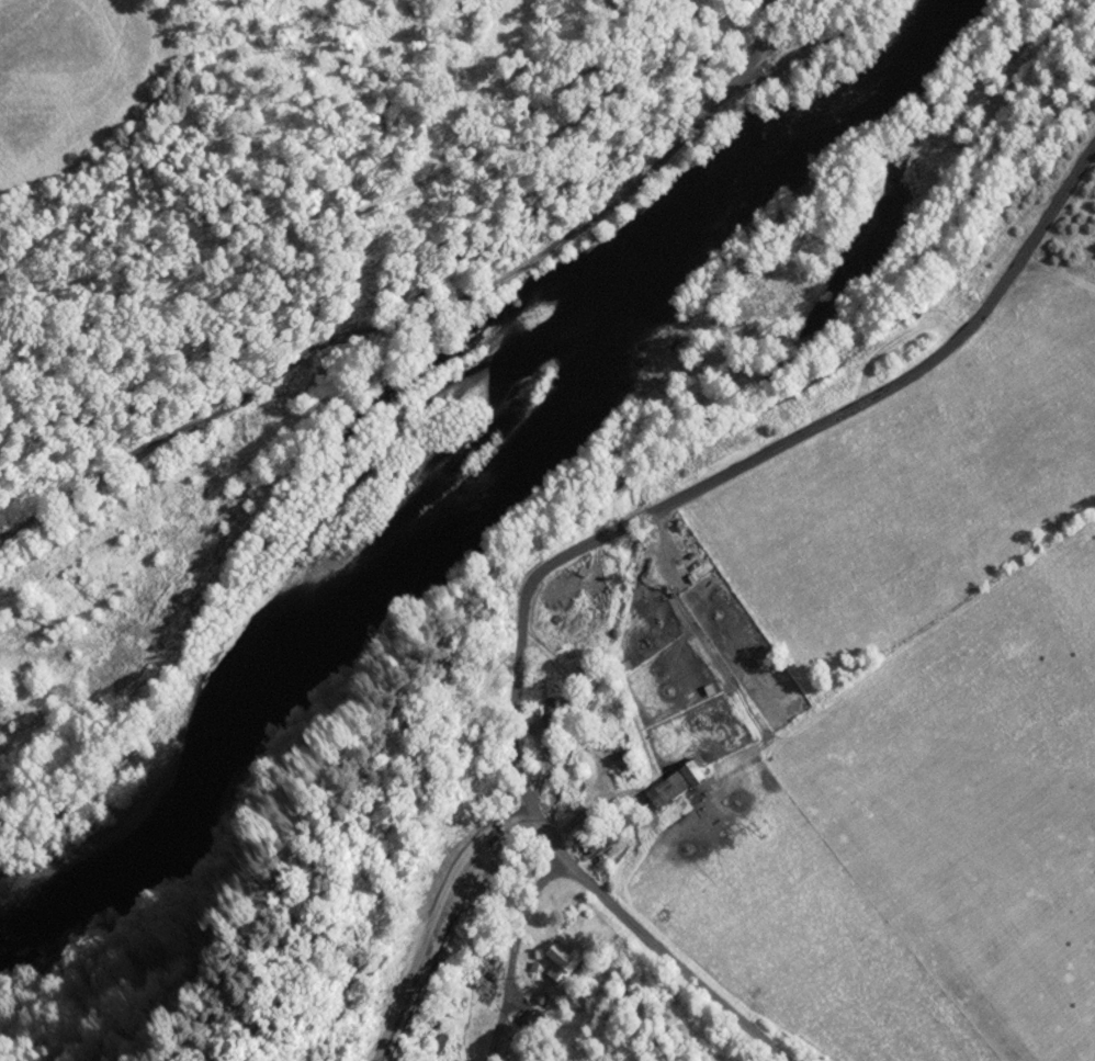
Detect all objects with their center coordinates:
road: (422, 302)
river: (479, 476)
road: (716, 479)
building: (557, 695)
building: (684, 785)
road: (522, 946)
building: (564, 962)
road: (691, 966)
building: (493, 978)

